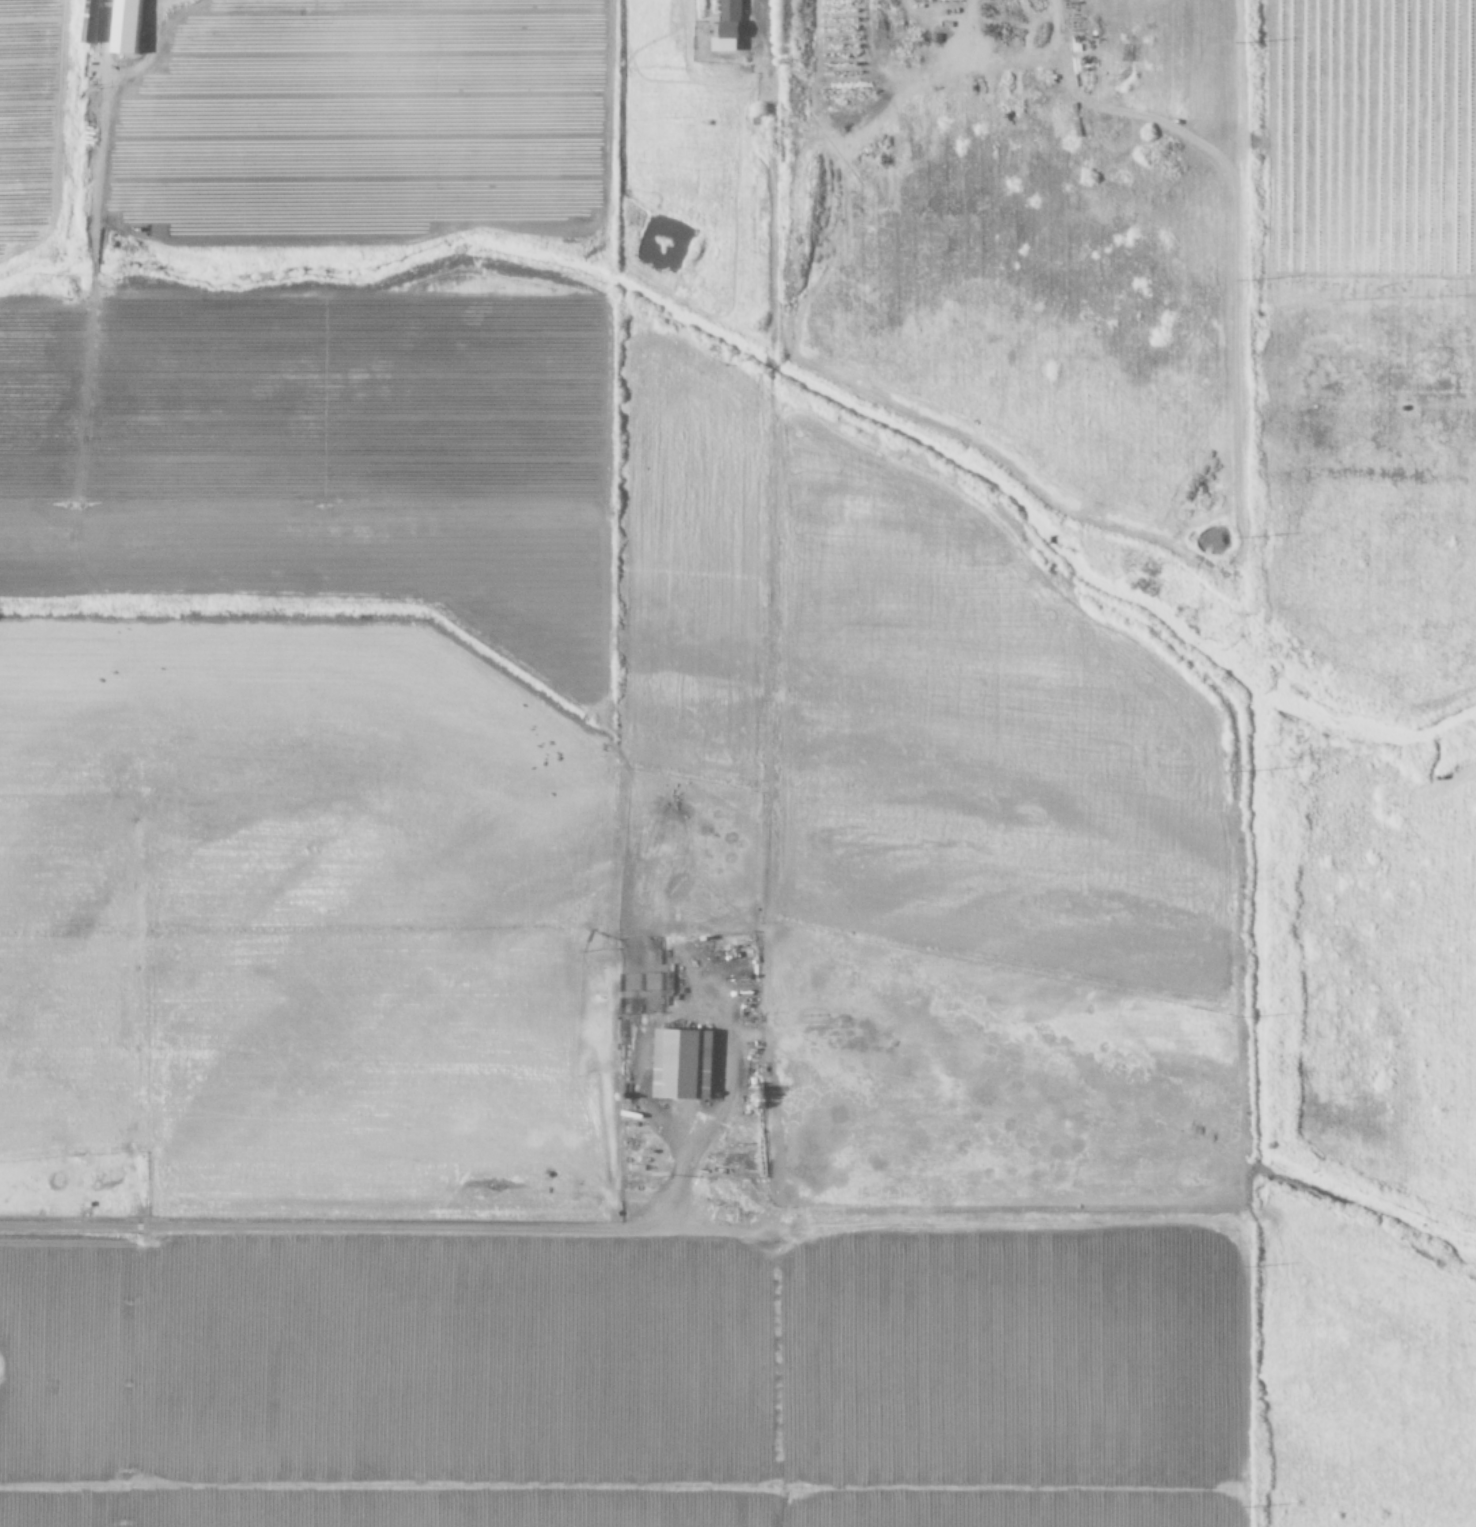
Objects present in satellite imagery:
building: (95, 22)
building: (732, 27)
crop: (305, 610)
crop: (946, 948)
building: (687, 1064)
road: (378, 1233)

